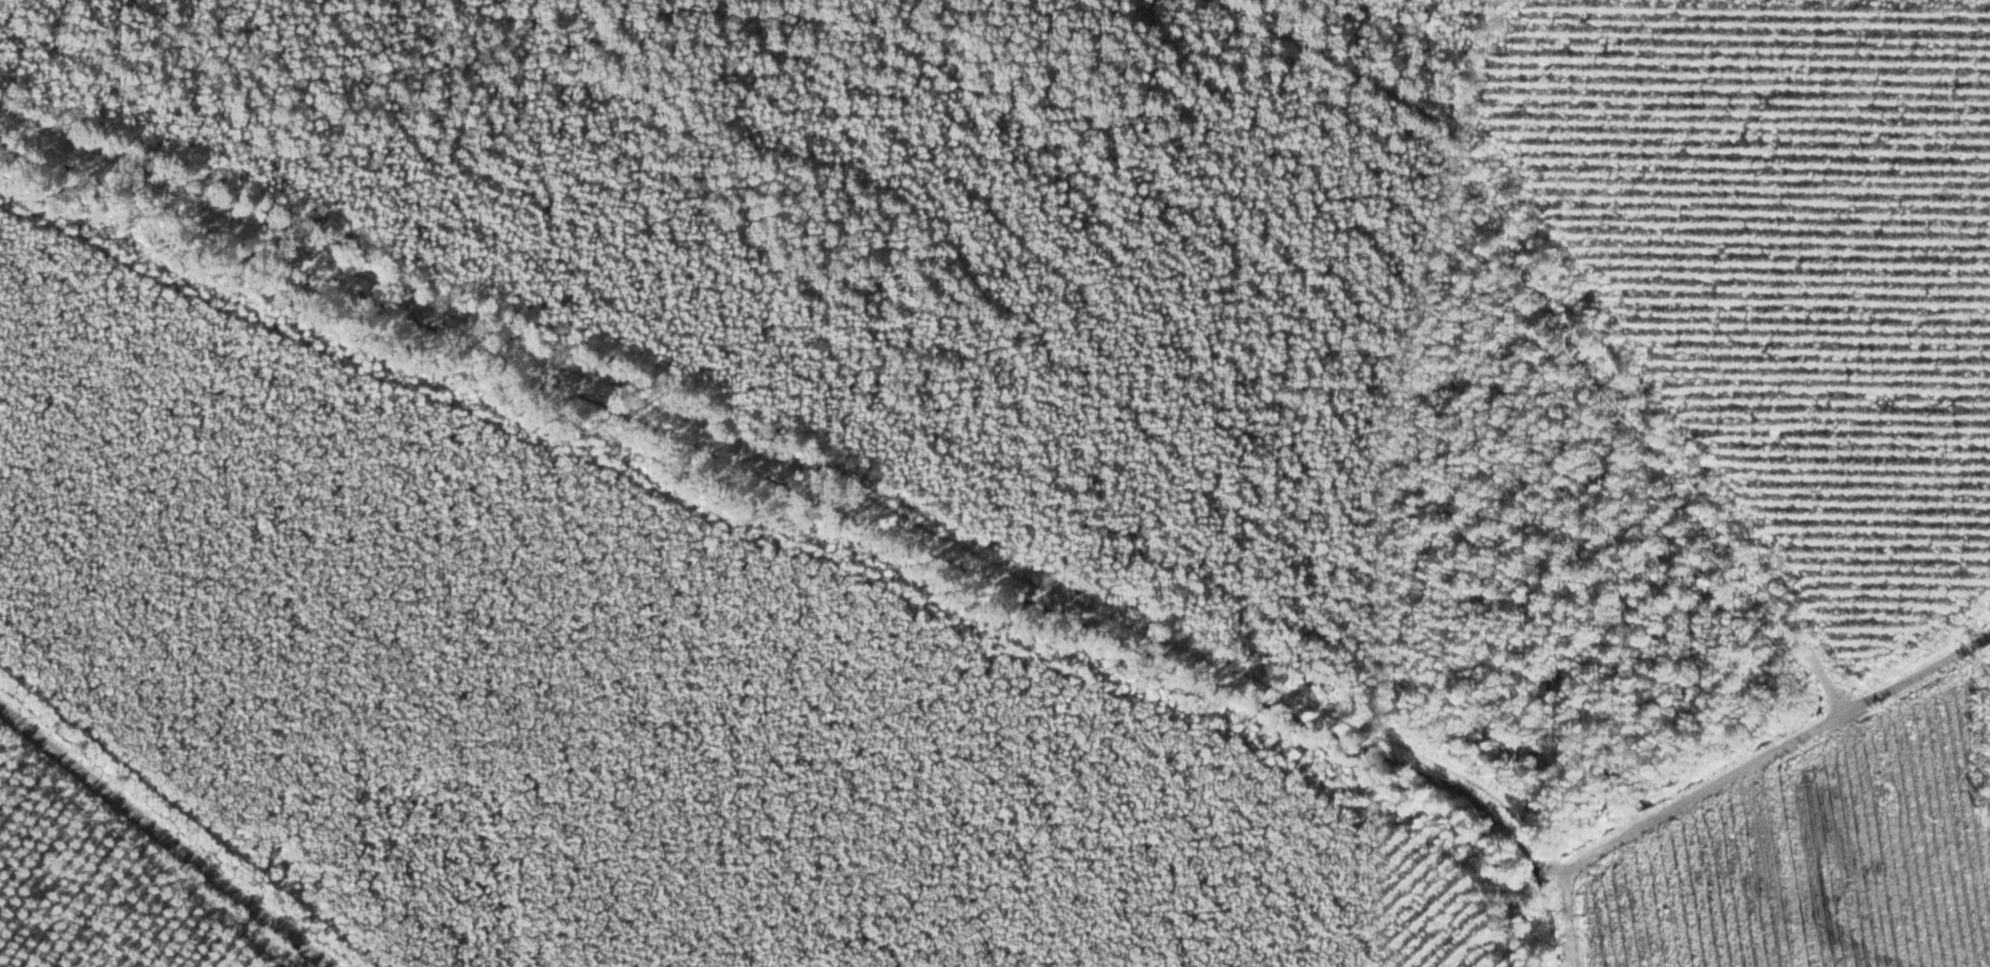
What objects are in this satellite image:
road: (162, 830)

